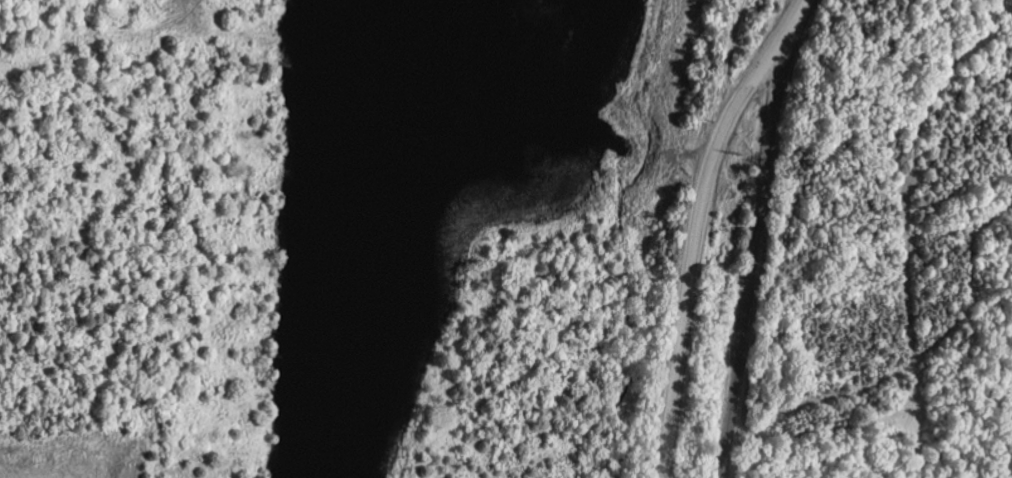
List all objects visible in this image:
road: (757, 237)

